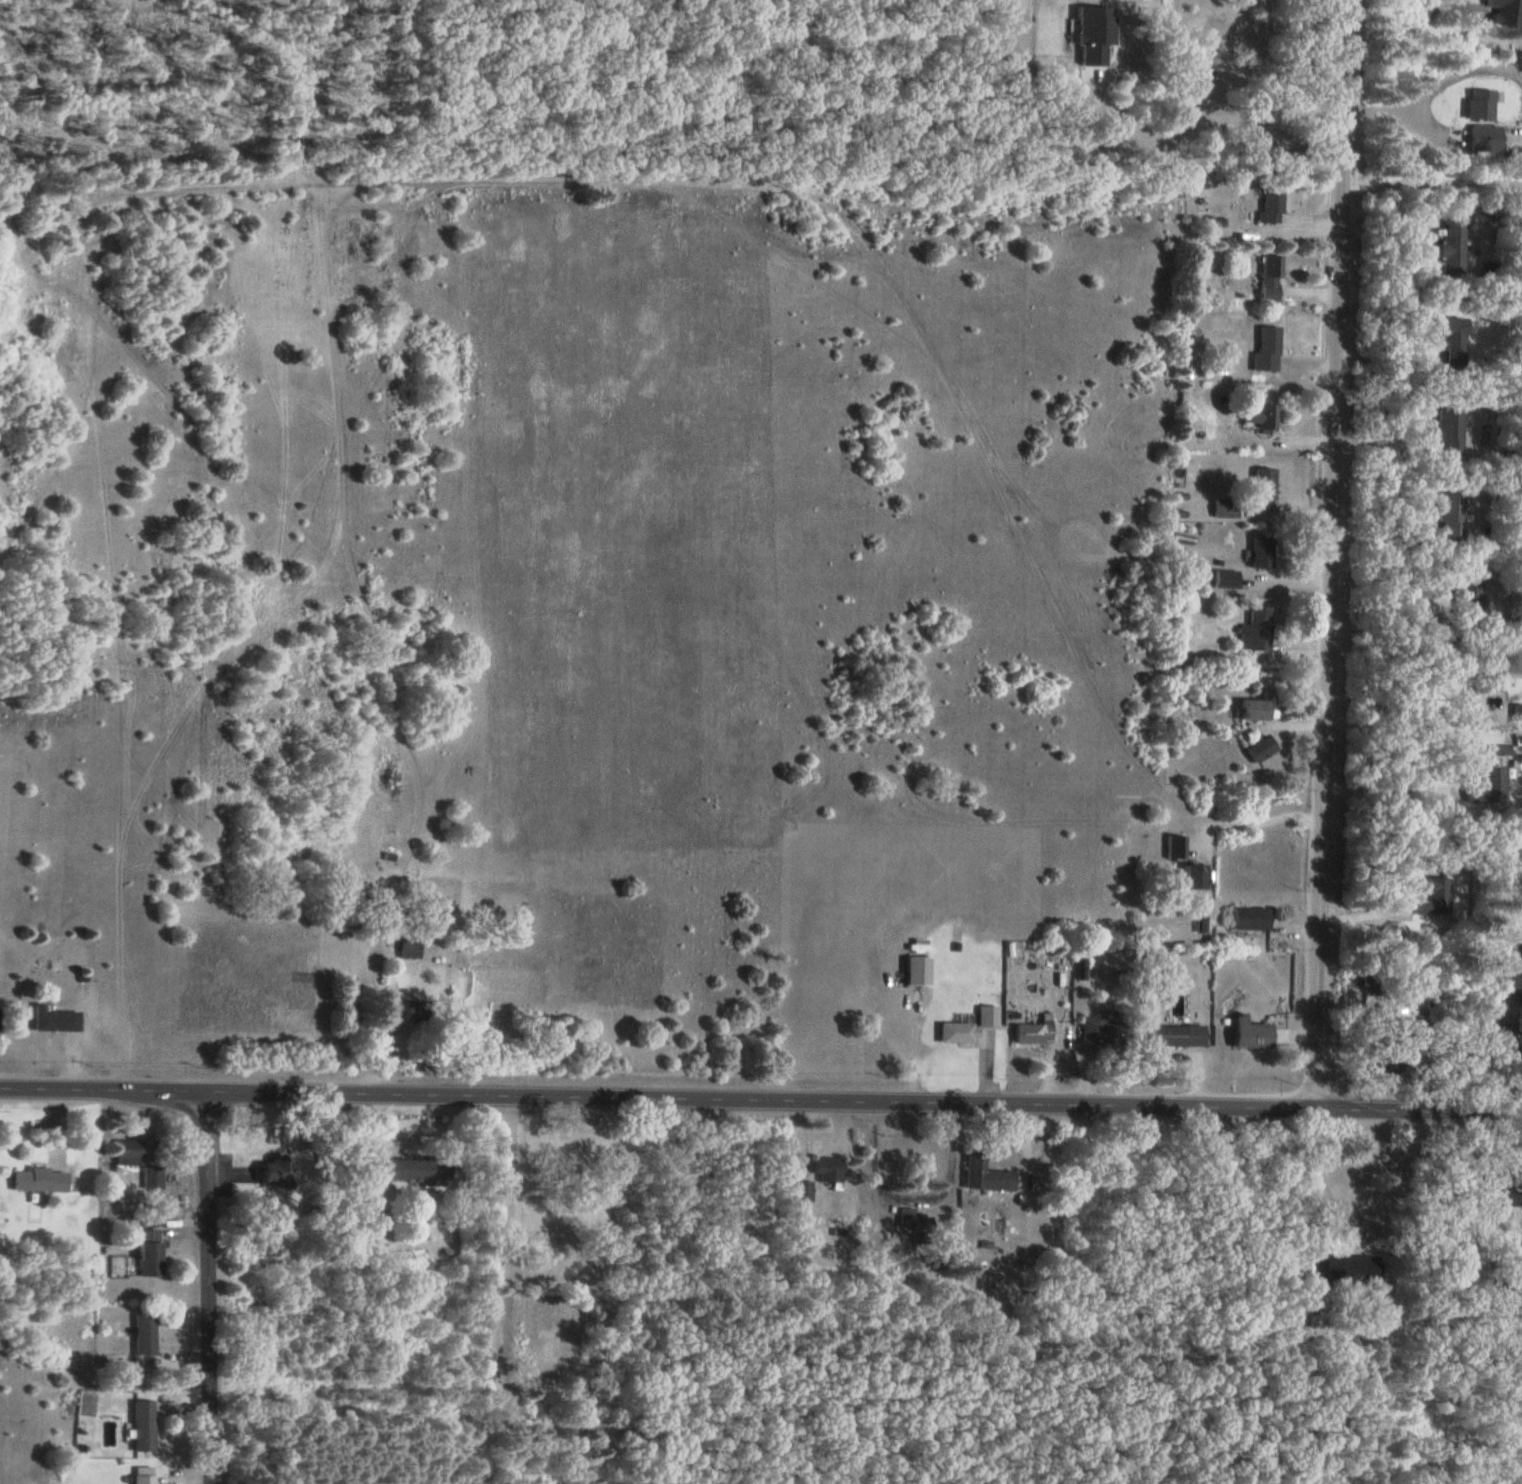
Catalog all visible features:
road: (1487, 27)
building: (1207, 52)
road: (1395, 110)
road: (1207, 117)
road: (1430, 180)
building: (1268, 204)
building: (1450, 245)
building: (1267, 278)
building: (1451, 340)
building: (1264, 348)
road: (1387, 355)
building: (1260, 416)
building: (1447, 432)
building: (1261, 484)
building: (1223, 507)
building: (1448, 515)
road: (1381, 531)
road: (1327, 551)
building: (1259, 552)
road: (1385, 569)
building: (1224, 578)
building: (1466, 598)
building: (1254, 629)
building: (1482, 675)
building: (1251, 708)
road: (1401, 708)
building: (1516, 716)
building: (1258, 747)
building: (1486, 784)
road: (1382, 788)
road: (1254, 825)
building: (1189, 874)
building: (1431, 896)
building: (1248, 917)
building: (407, 947)
building: (914, 969)
building: (1371, 984)
building: (1512, 985)
building: (411, 1009)
building: (984, 1015)
building: (52, 1018)
building: (953, 1030)
building: (1029, 1031)
building: (1101, 1031)
building: (1248, 1031)
building: (1176, 1034)
road: (1504, 1051)
building: (1390, 1061)
road: (761, 1087)
building: (126, 1151)
building: (414, 1168)
building: (273, 1170)
building: (824, 1170)
building: (982, 1174)
building: (37, 1178)
road: (908, 1197)
building: (365, 1210)
road: (506, 1216)
building: (913, 1224)
road: (1355, 1227)
building: (261, 1244)
building: (146, 1251)
building: (1345, 1267)
road: (203, 1277)
building: (142, 1332)
building: (543, 1343)
building: (505, 1407)
building: (140, 1424)
building: (140, 1475)

